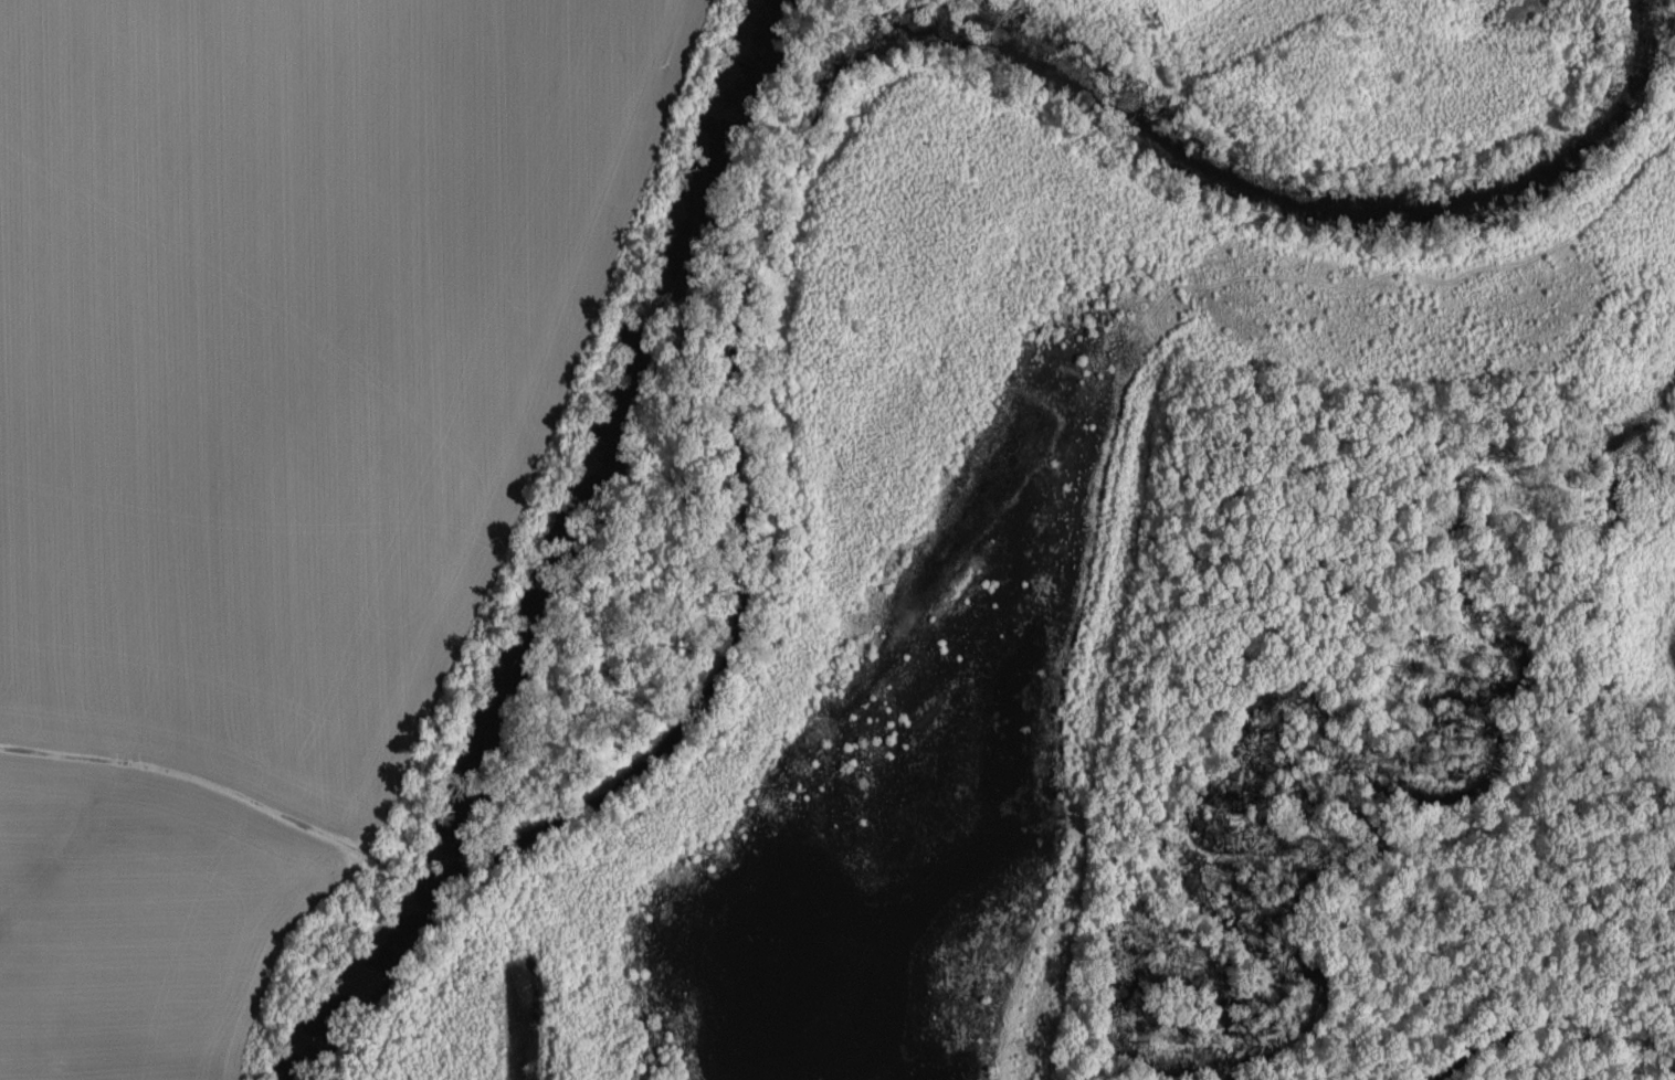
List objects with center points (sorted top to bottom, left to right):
river: (766, 191)

